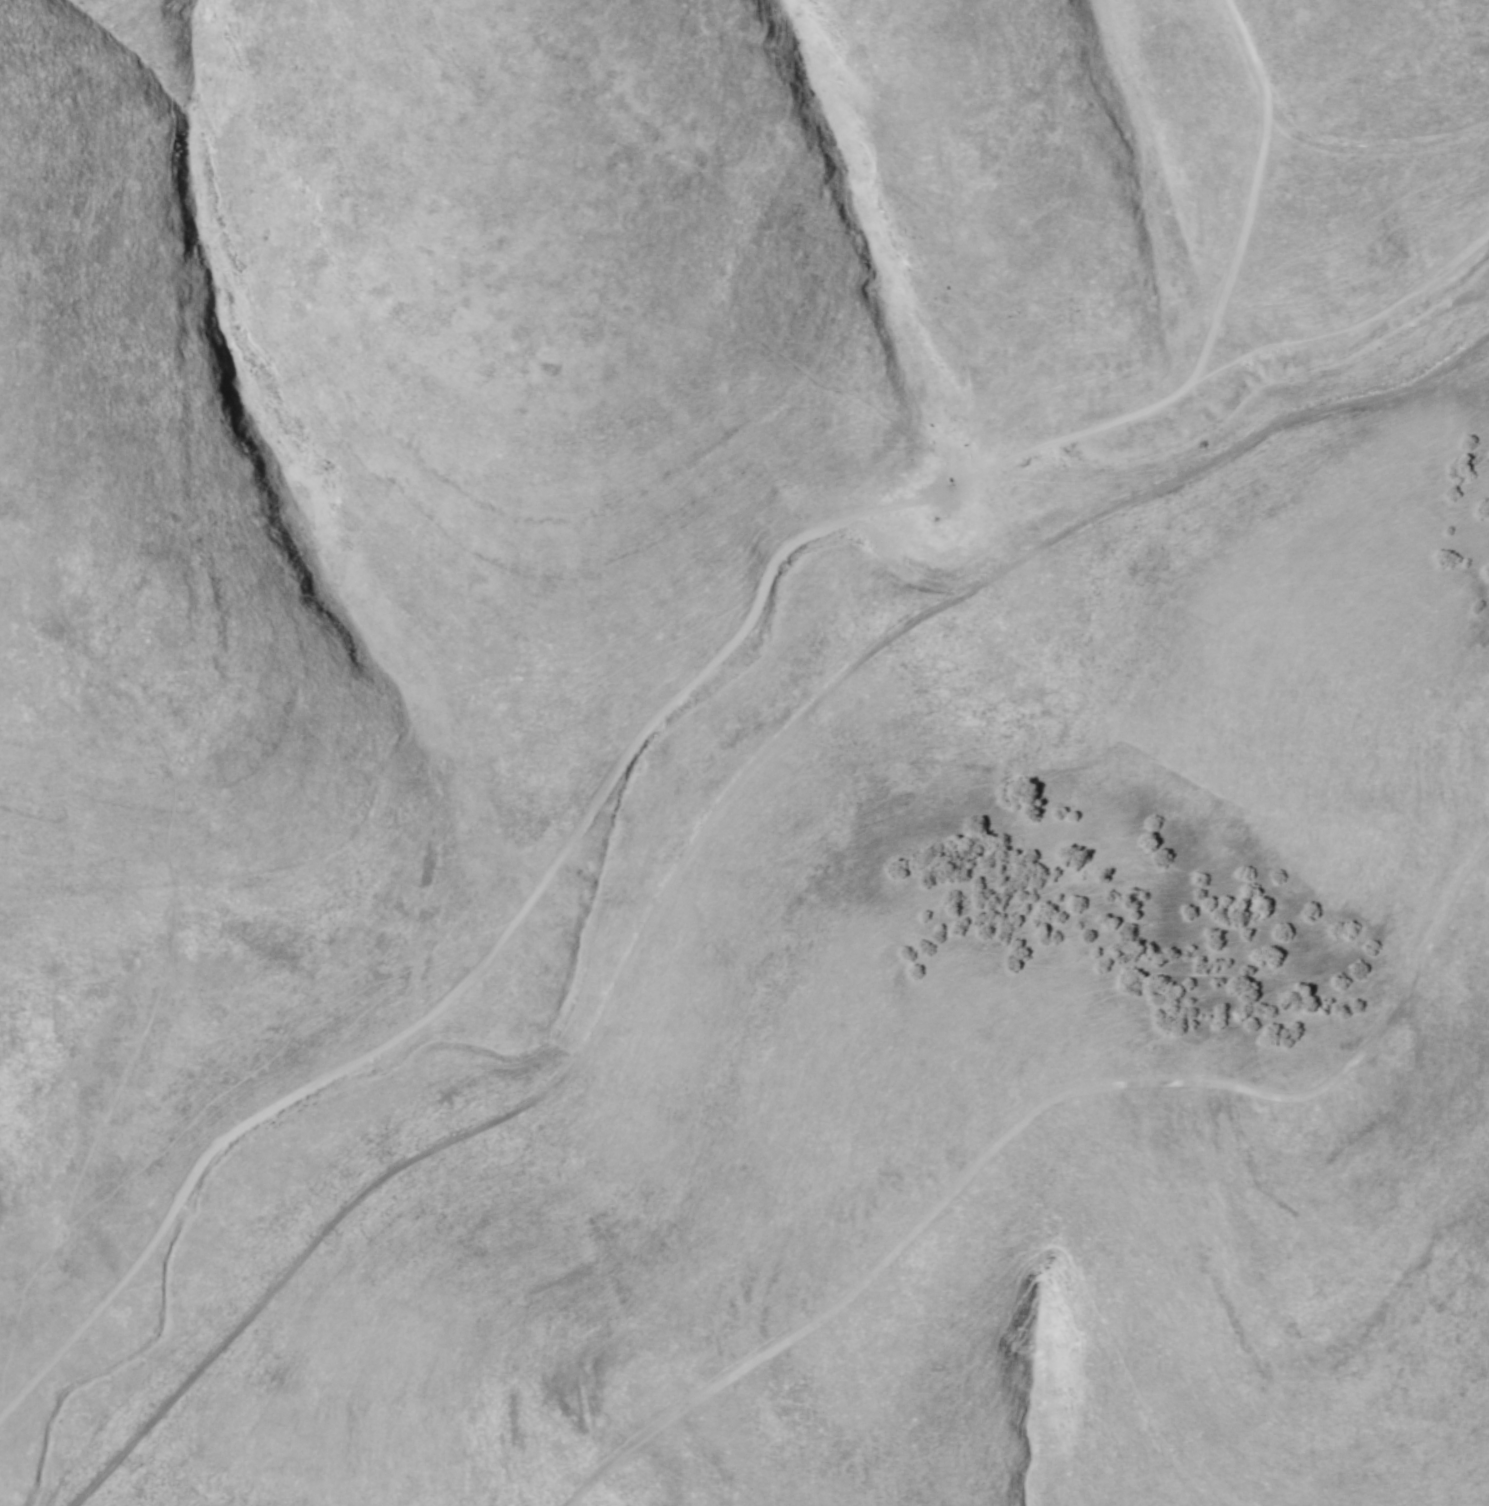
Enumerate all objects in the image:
road: (1323, 135)
road: (1137, 393)
road: (738, 848)

